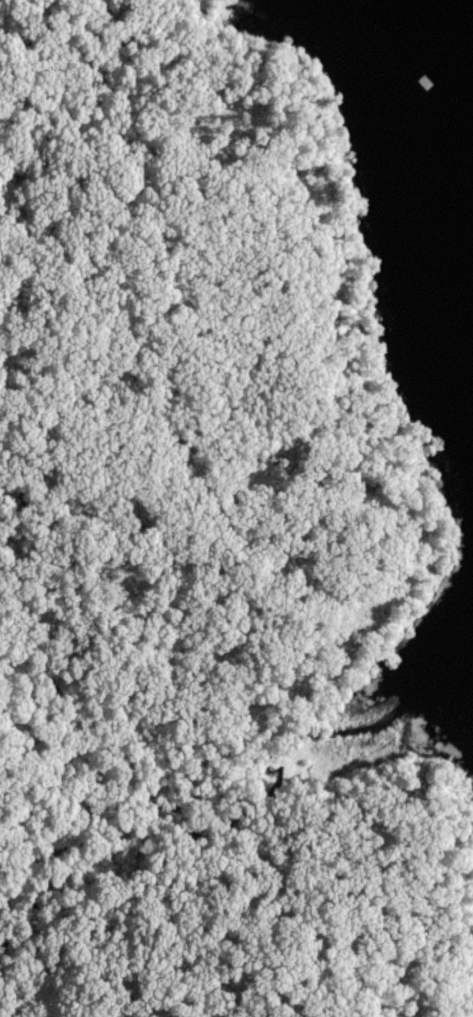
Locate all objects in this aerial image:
road: (305, 819)

